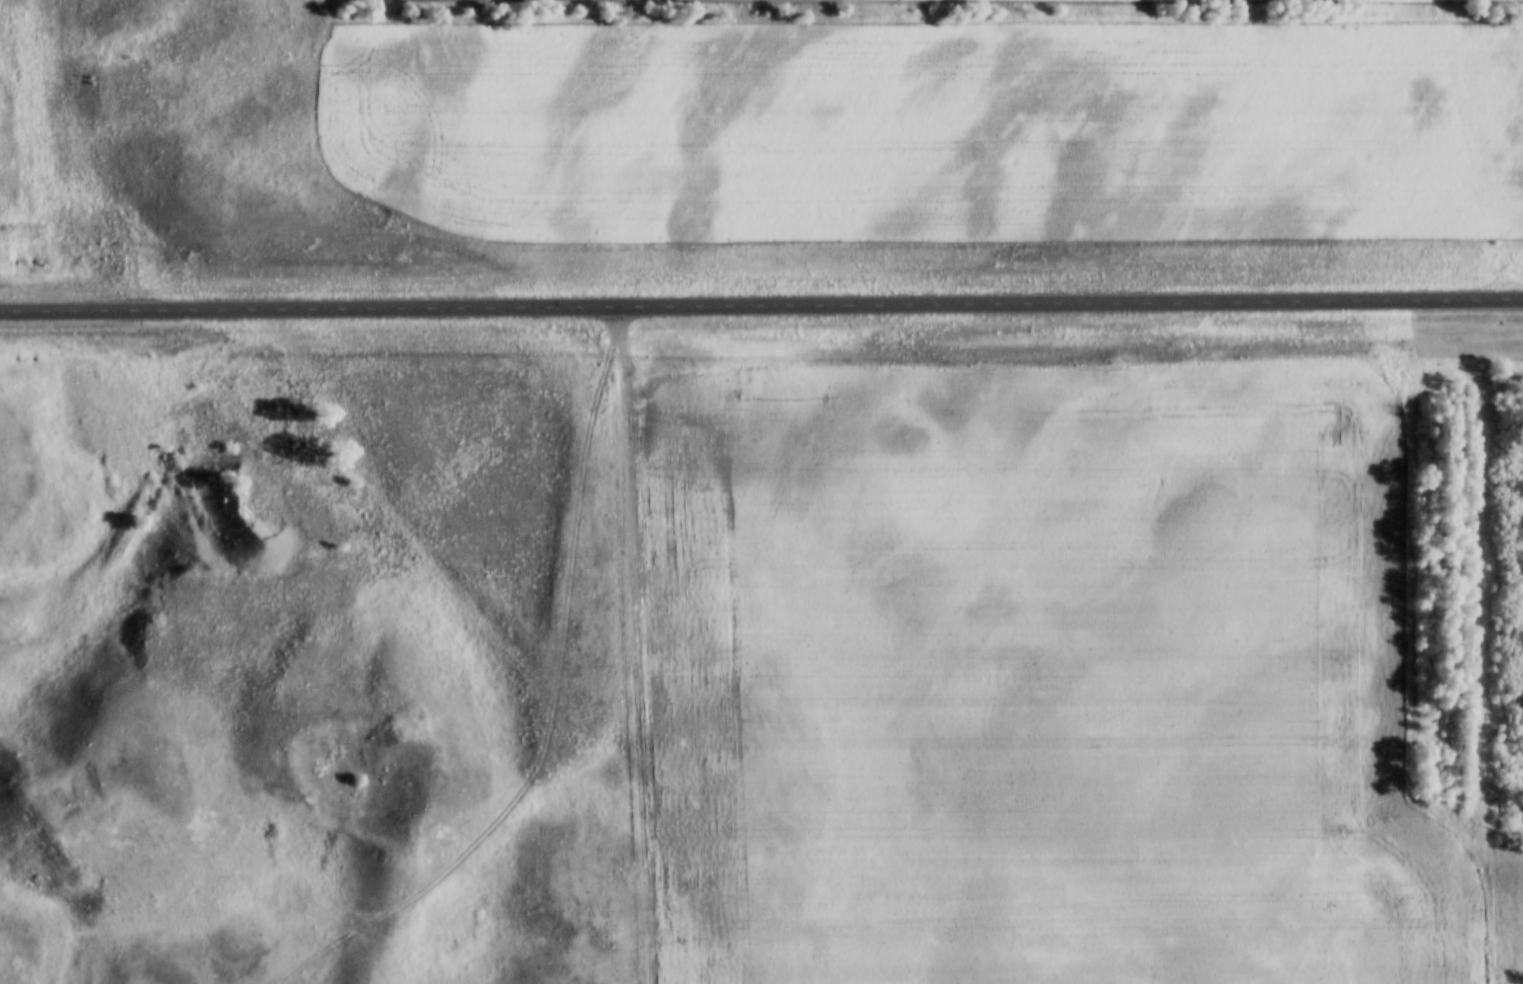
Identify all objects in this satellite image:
road: (761, 302)

